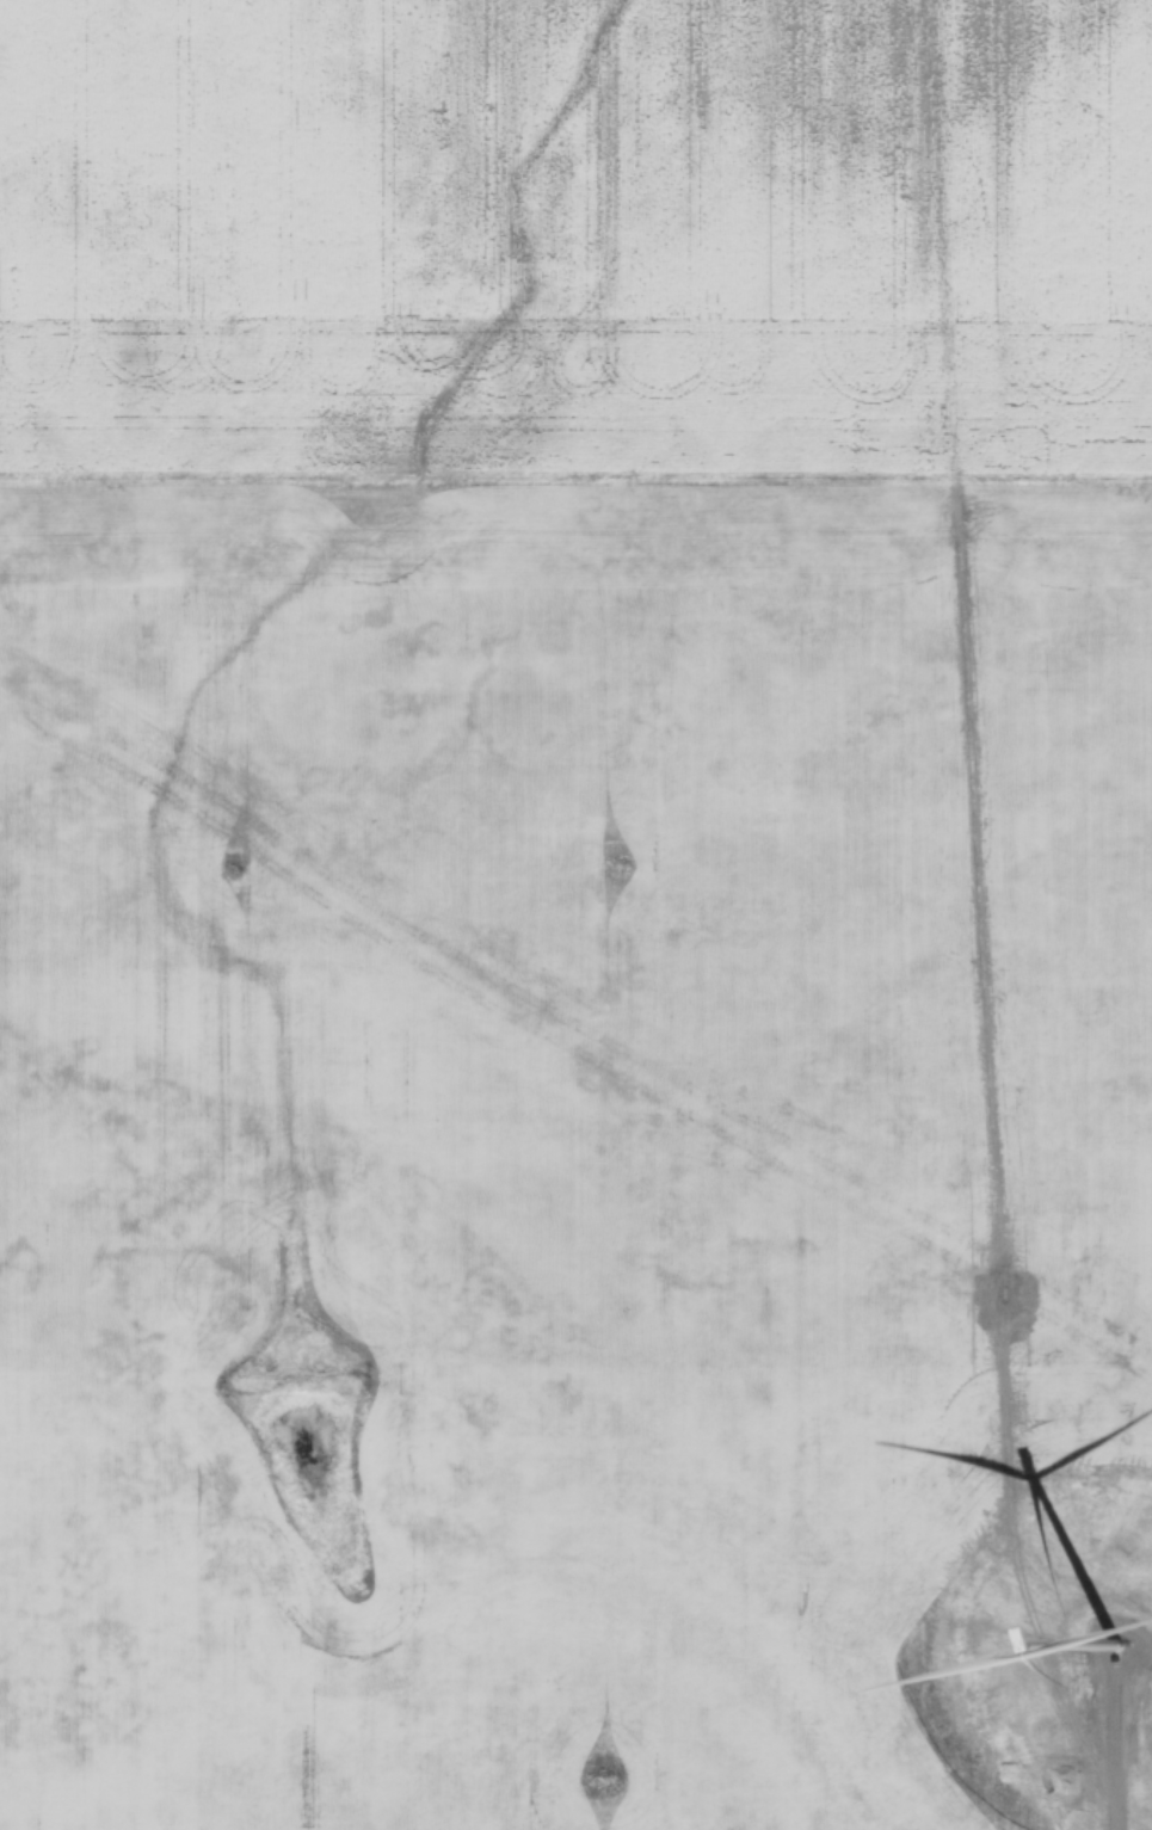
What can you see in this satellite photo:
wind turbine: (1122, 1651)

